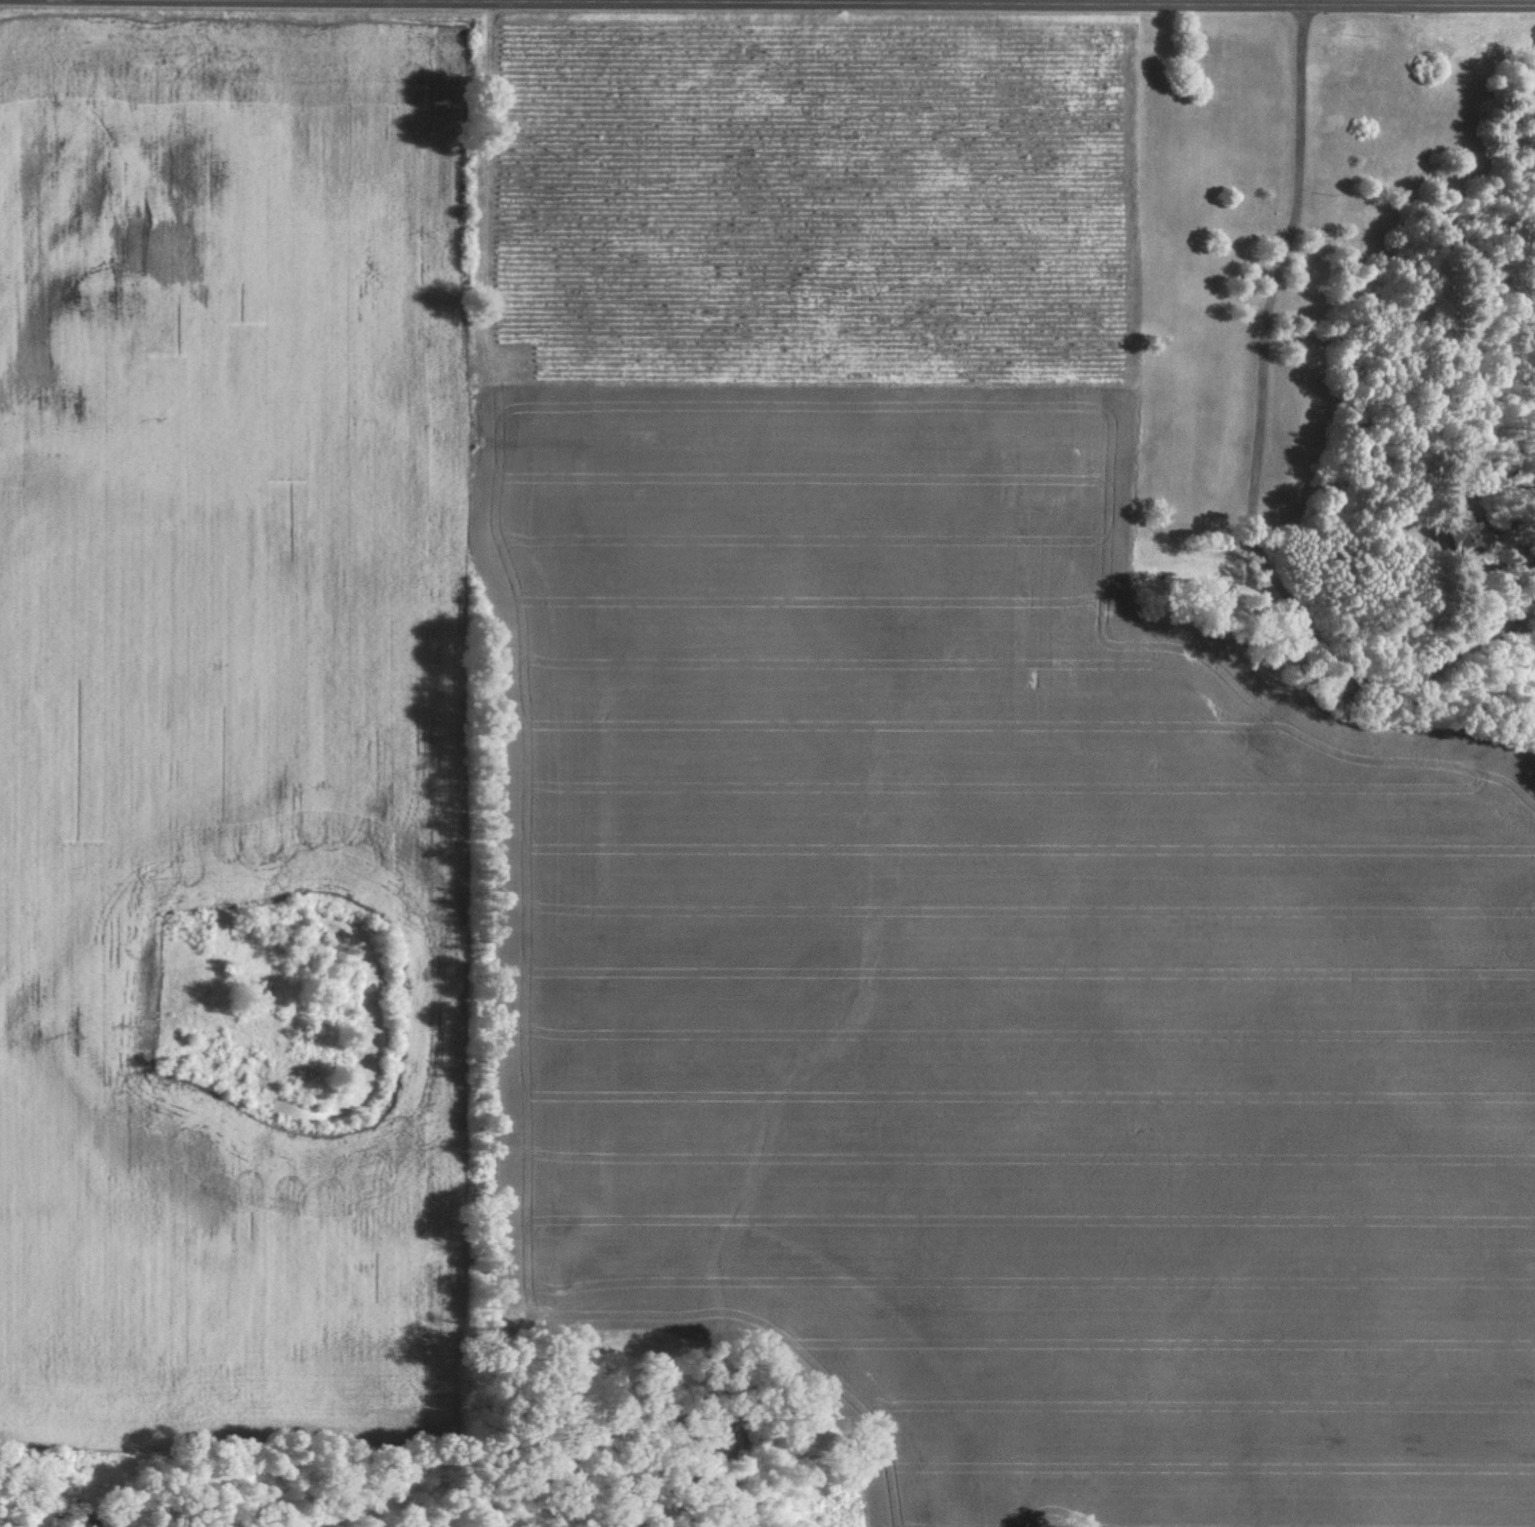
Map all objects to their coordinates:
road: (881, 1)
road: (1305, 2)
road: (1069, 3)
road: (1257, 454)

